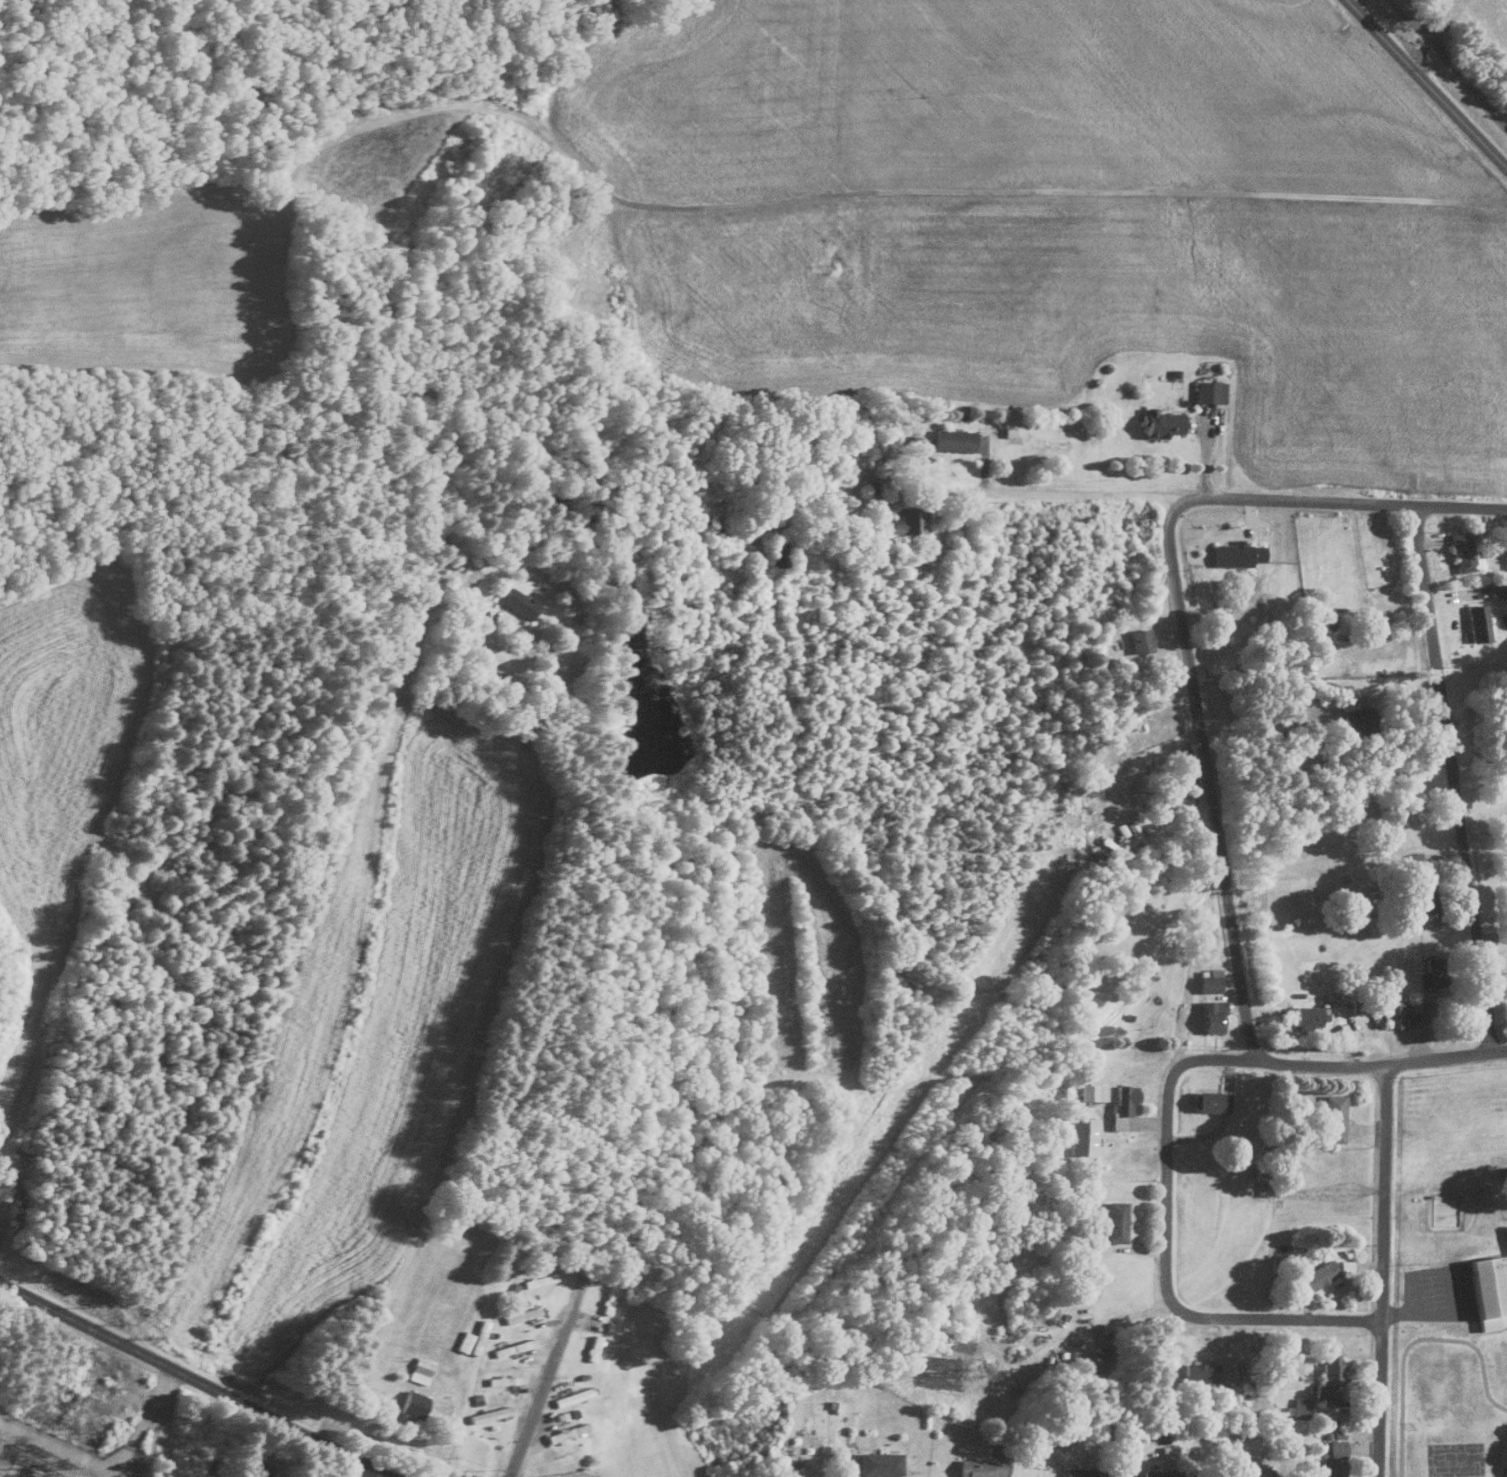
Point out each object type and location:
road: (1439, 40)
road: (1425, 85)
building: (1209, 390)
building: (1159, 422)
building: (1007, 430)
building: (952, 439)
road: (1237, 498)
building: (906, 519)
building: (1460, 550)
building: (774, 552)
building: (1236, 554)
building: (1496, 591)
building: (517, 602)
building: (1476, 622)
building: (1139, 640)
building: (1354, 716)
road: (1153, 767)
road: (1204, 776)
road: (1451, 778)
building: (1419, 897)
building: (1430, 972)
building: (1209, 981)
road: (493, 1000)
building: (1397, 1013)
building: (1211, 1015)
building: (1310, 1016)
road: (1217, 1058)
building: (1092, 1091)
building: (1210, 1101)
building: (1122, 1104)
building: (1332, 1118)
building: (1081, 1135)
power tower: (1347, 1194)
building: (1114, 1221)
building: (1505, 1234)
road: (1377, 1271)
building: (1318, 1274)
building: (1486, 1292)
building: (519, 1314)
road: (1273, 1316)
building: (477, 1337)
building: (462, 1341)
building: (512, 1347)
building: (1097, 1354)
building: (419, 1369)
building: (1200, 1372)
power tower: (970, 1375)
road: (544, 1376)
building: (503, 1380)
building: (1328, 1380)
road: (200, 1383)
building: (1230, 1394)
building: (570, 1397)
building: (411, 1404)
building: (1299, 1407)
building: (488, 1414)
building: (565, 1432)
building: (1335, 1448)
building: (1166, 1452)
power substation: (58, 1456)
building: (879, 1464)
building: (979, 1467)
building: (1329, 1469)
building: (1251, 1471)
building: (1082, 1472)
building: (1160, 1473)
power tower: (571, 1476)

